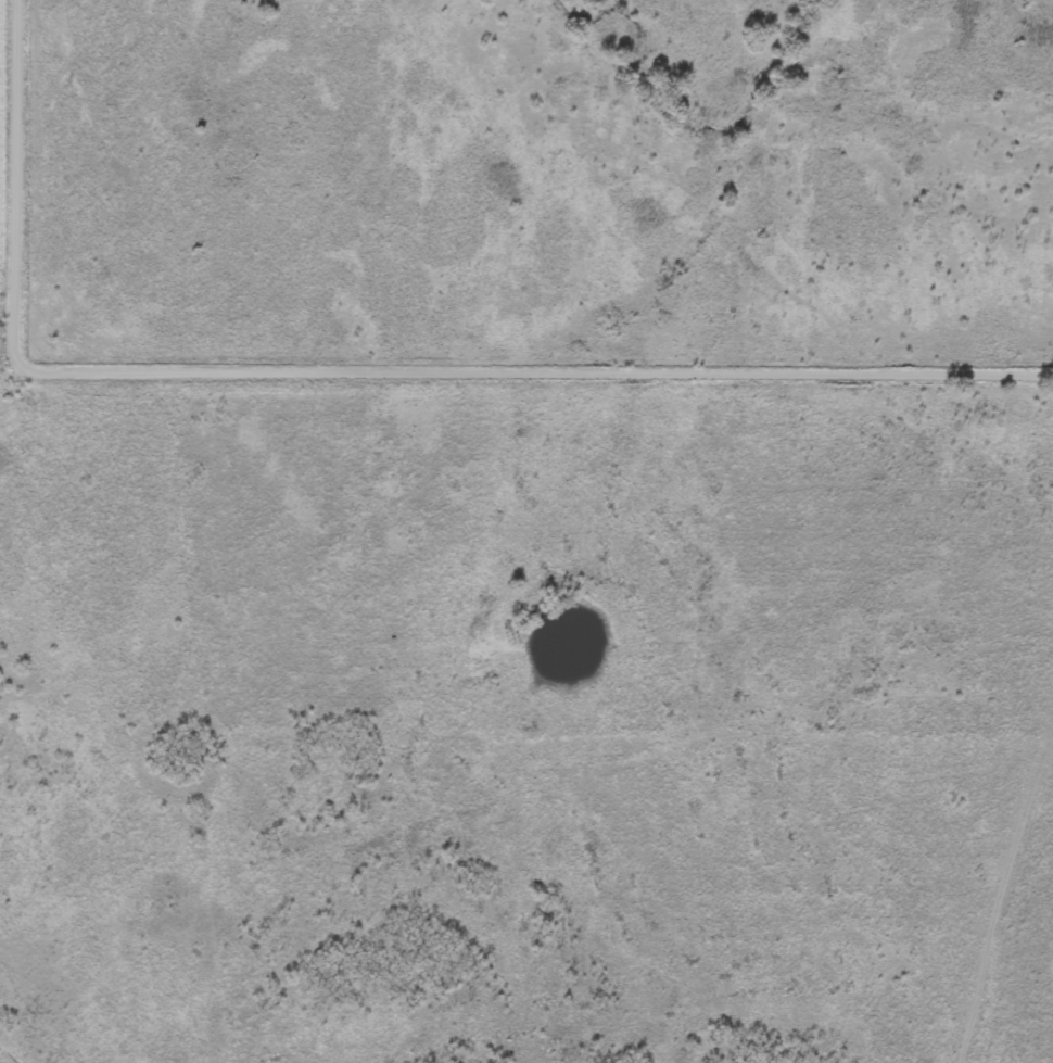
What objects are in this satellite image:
road: (355, 372)

